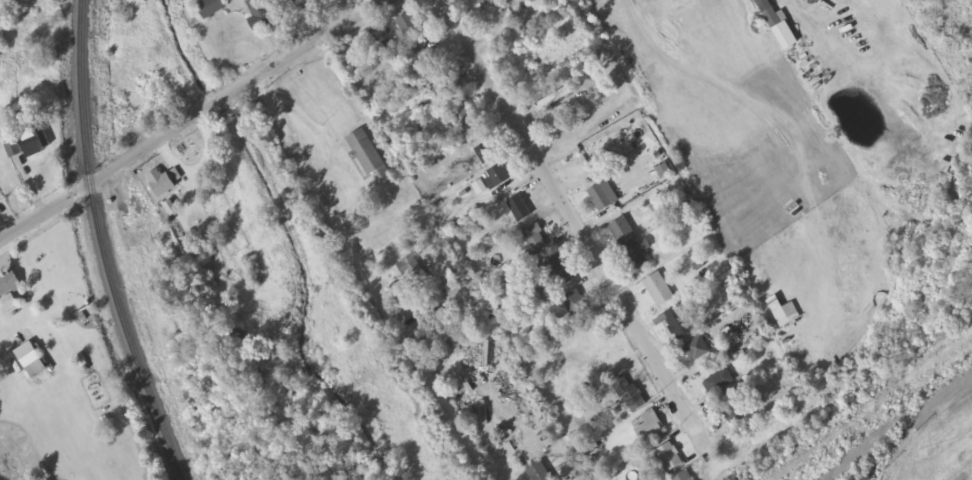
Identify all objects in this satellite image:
building: (485, 2)
building: (305, 4)
building: (209, 7)
building: (260, 14)
building: (770, 14)
building: (408, 24)
building: (387, 50)
building: (426, 57)
building: (447, 94)
road: (197, 117)
building: (465, 121)
building: (35, 142)
building: (13, 149)
building: (486, 154)
building: (369, 156)
building: (496, 177)
building: (163, 183)
building: (600, 198)
building: (518, 210)
building: (623, 233)
road: (583, 241)
railway: (101, 245)
building: (205, 251)
building: (639, 256)
building: (413, 272)
building: (556, 272)
building: (8, 284)
road: (366, 285)
building: (659, 291)
building: (576, 306)
building: (678, 324)
building: (597, 337)
railway: (909, 344)
building: (697, 349)
building: (28, 355)
building: (719, 382)
building: (630, 395)
building: (733, 413)
building: (650, 428)
railway: (909, 429)
building: (669, 458)
building: (539, 473)
building: (684, 477)

